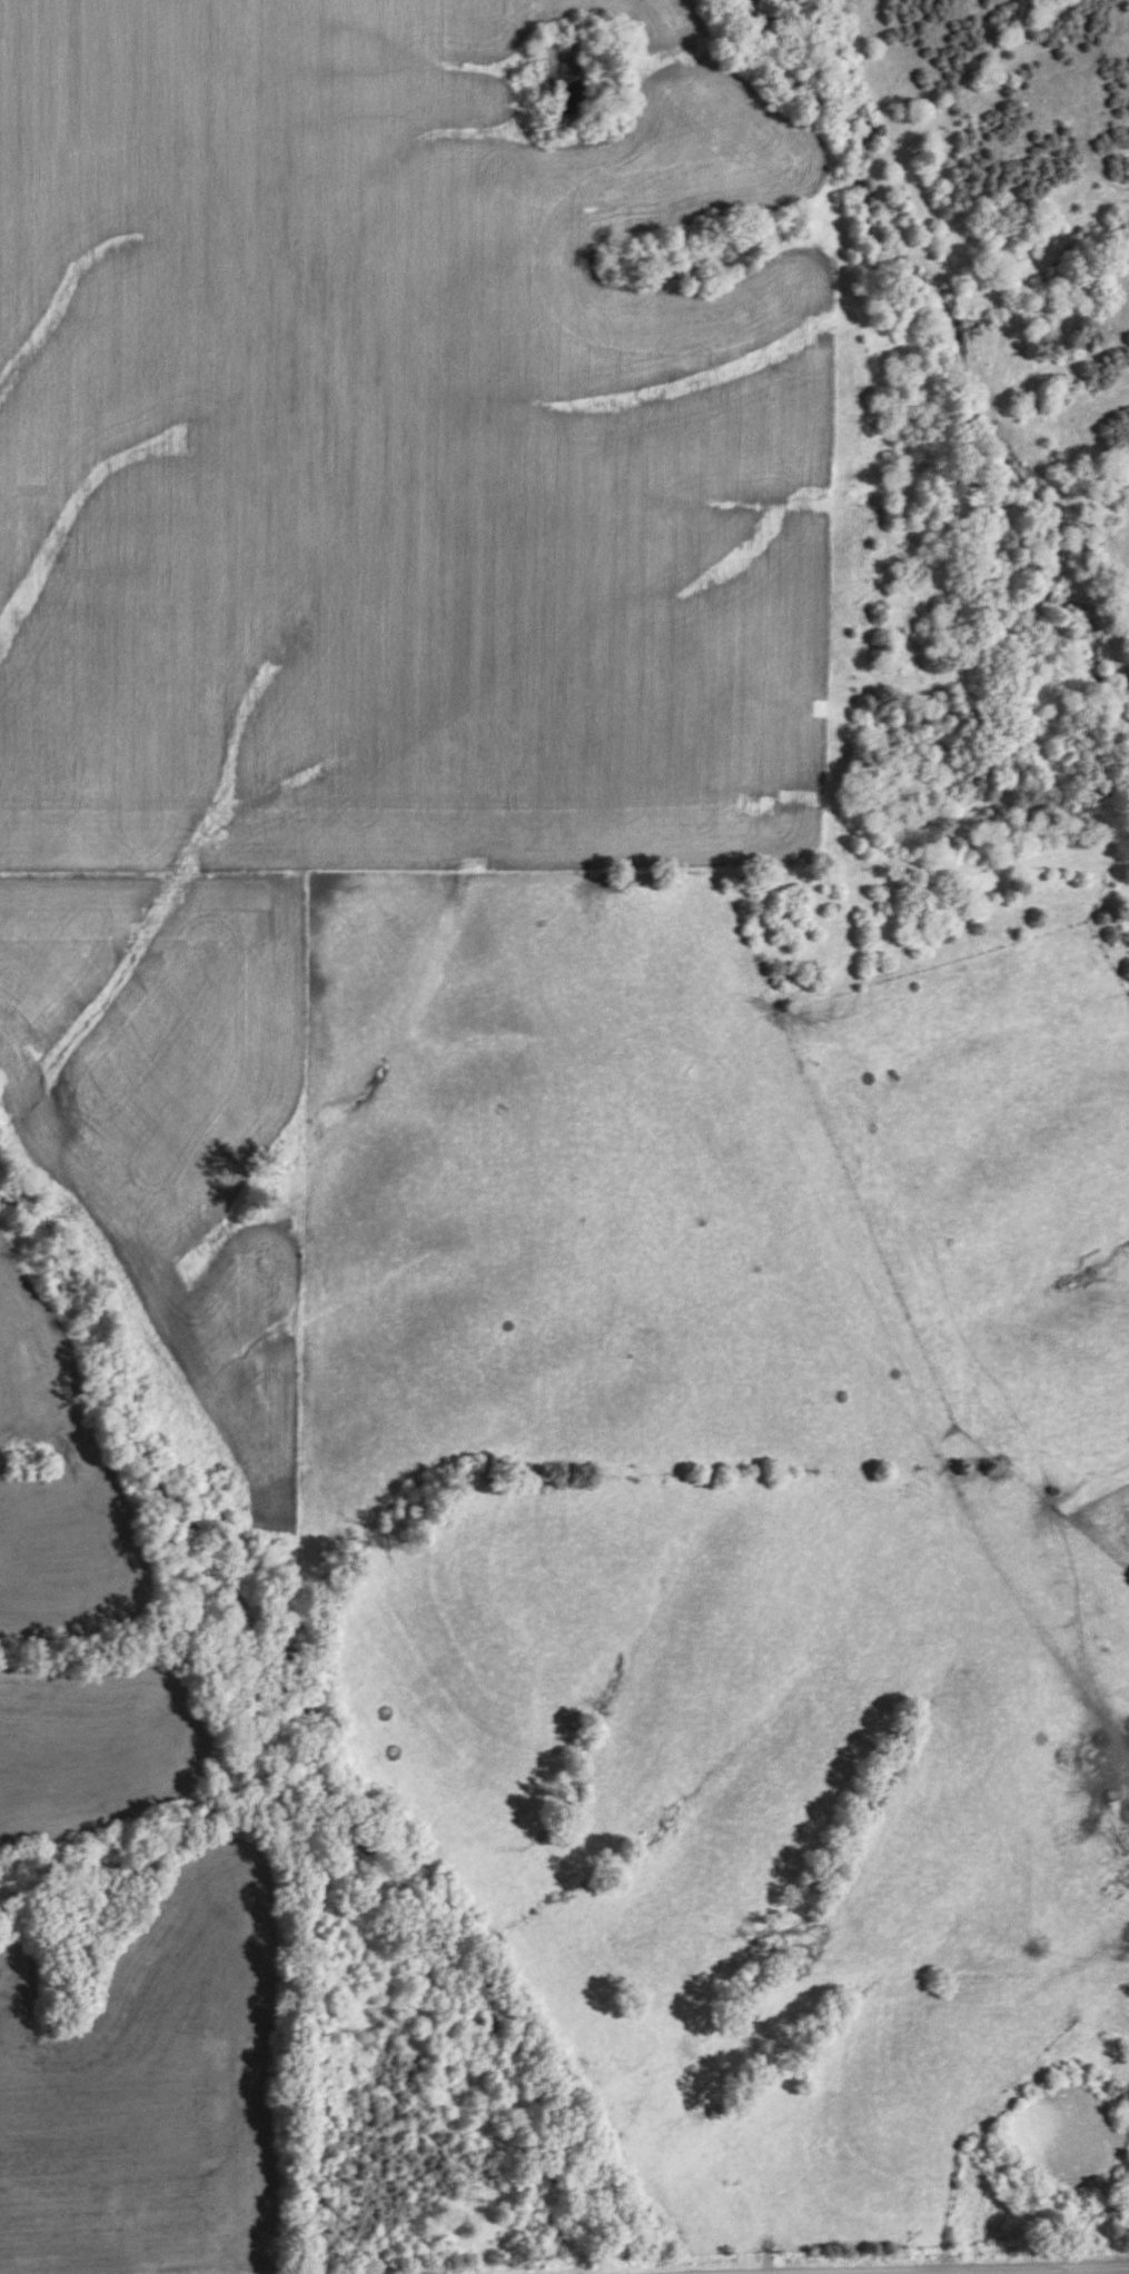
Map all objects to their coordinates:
road: (972, 2271)

